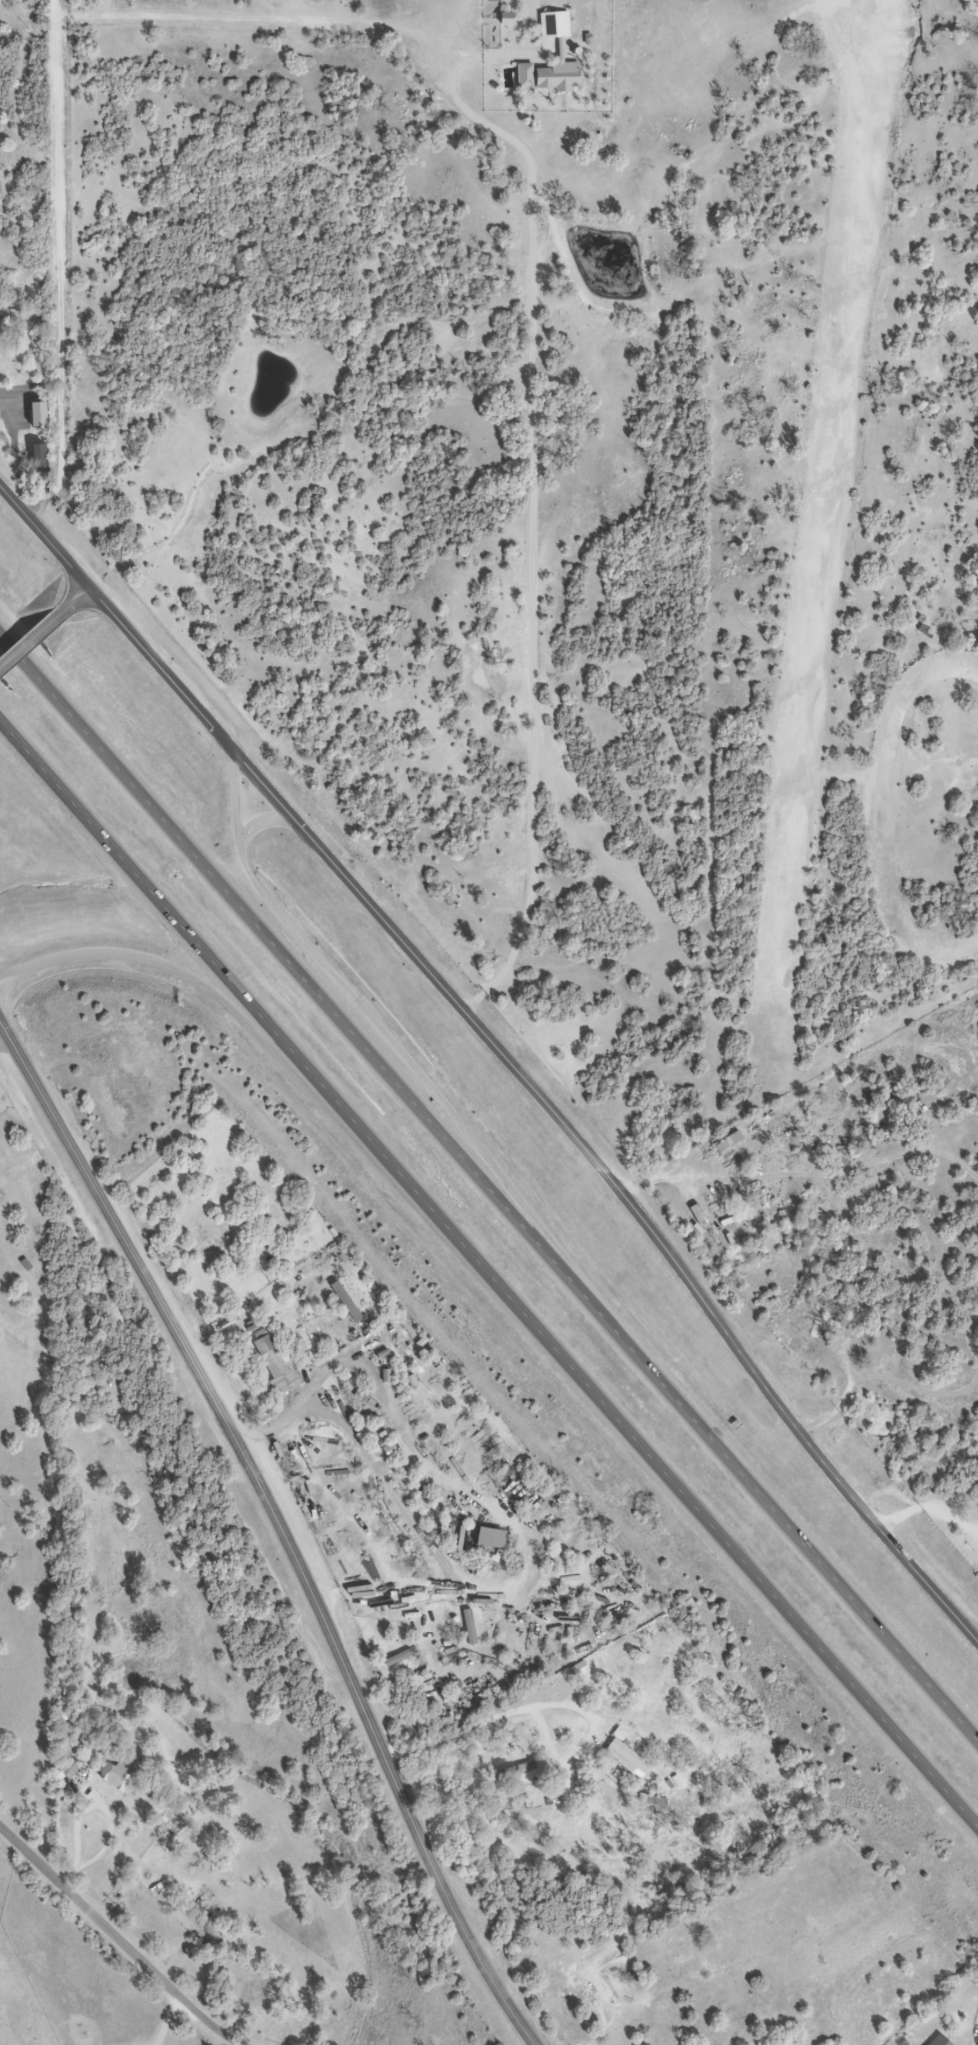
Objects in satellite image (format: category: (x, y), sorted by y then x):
building: (555, 24)
building: (564, 75)
road: (61, 264)
building: (39, 463)
airport runway: (822, 489)
road: (44, 536)
road: (74, 600)
road: (29, 639)
road: (260, 820)
road: (367, 1014)
road: (248, 1031)
road: (5, 1041)
road: (546, 1104)
road: (488, 1190)
road: (486, 1276)
building: (346, 1303)
building: (807, 1334)
building: (922, 1366)
building: (277, 1367)
road: (400, 1509)
road: (928, 1509)
road: (279, 1526)
building: (492, 1539)
building: (626, 1755)
building: (514, 1772)
building: (122, 1774)
road: (88, 1802)
building: (192, 1924)
road: (117, 1942)
road: (176, 2025)
building: (80, 2034)
building: (940, 2041)

